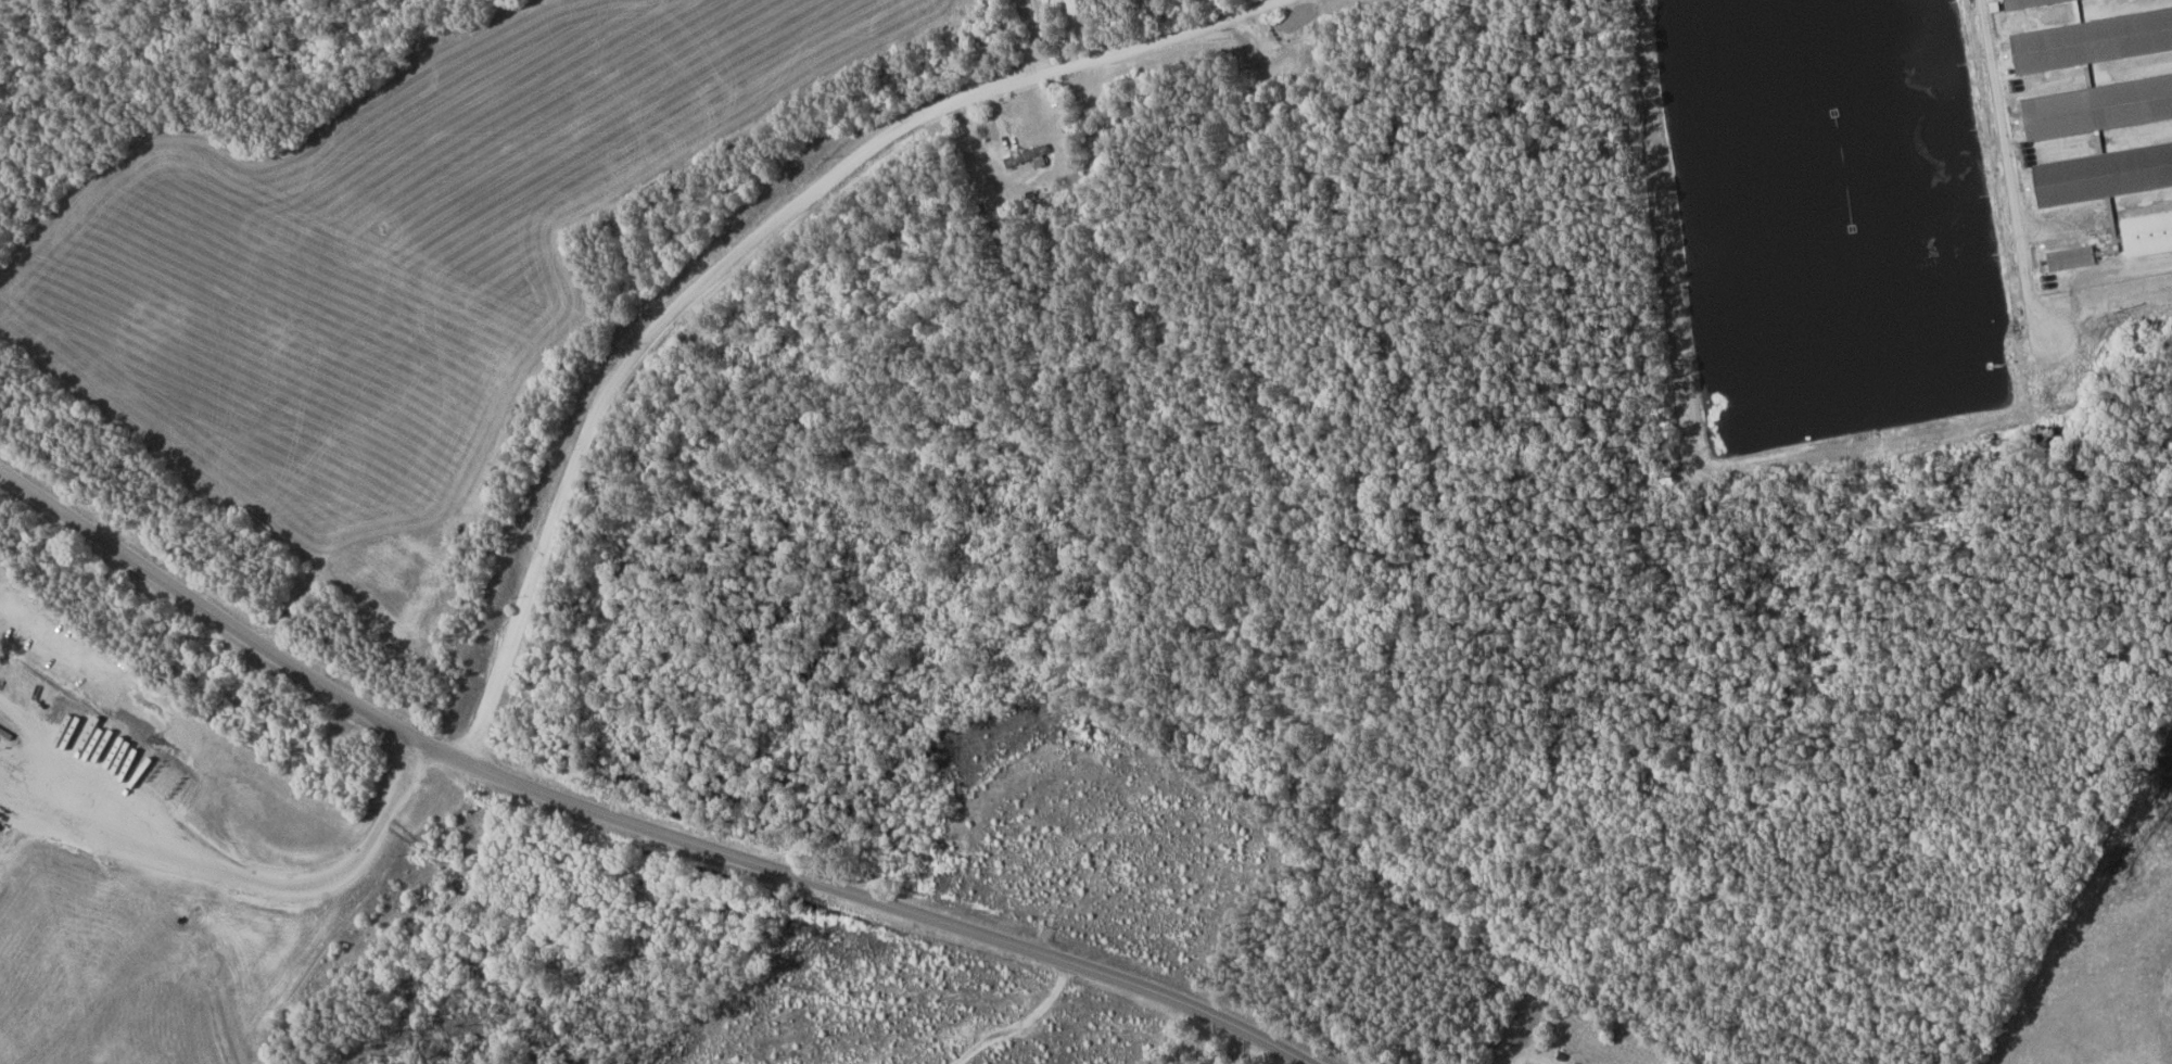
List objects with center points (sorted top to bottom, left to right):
building: (2103, 96)
building: (1026, 155)
building: (2147, 233)
road: (747, 246)
building: (2069, 257)
road: (630, 822)

